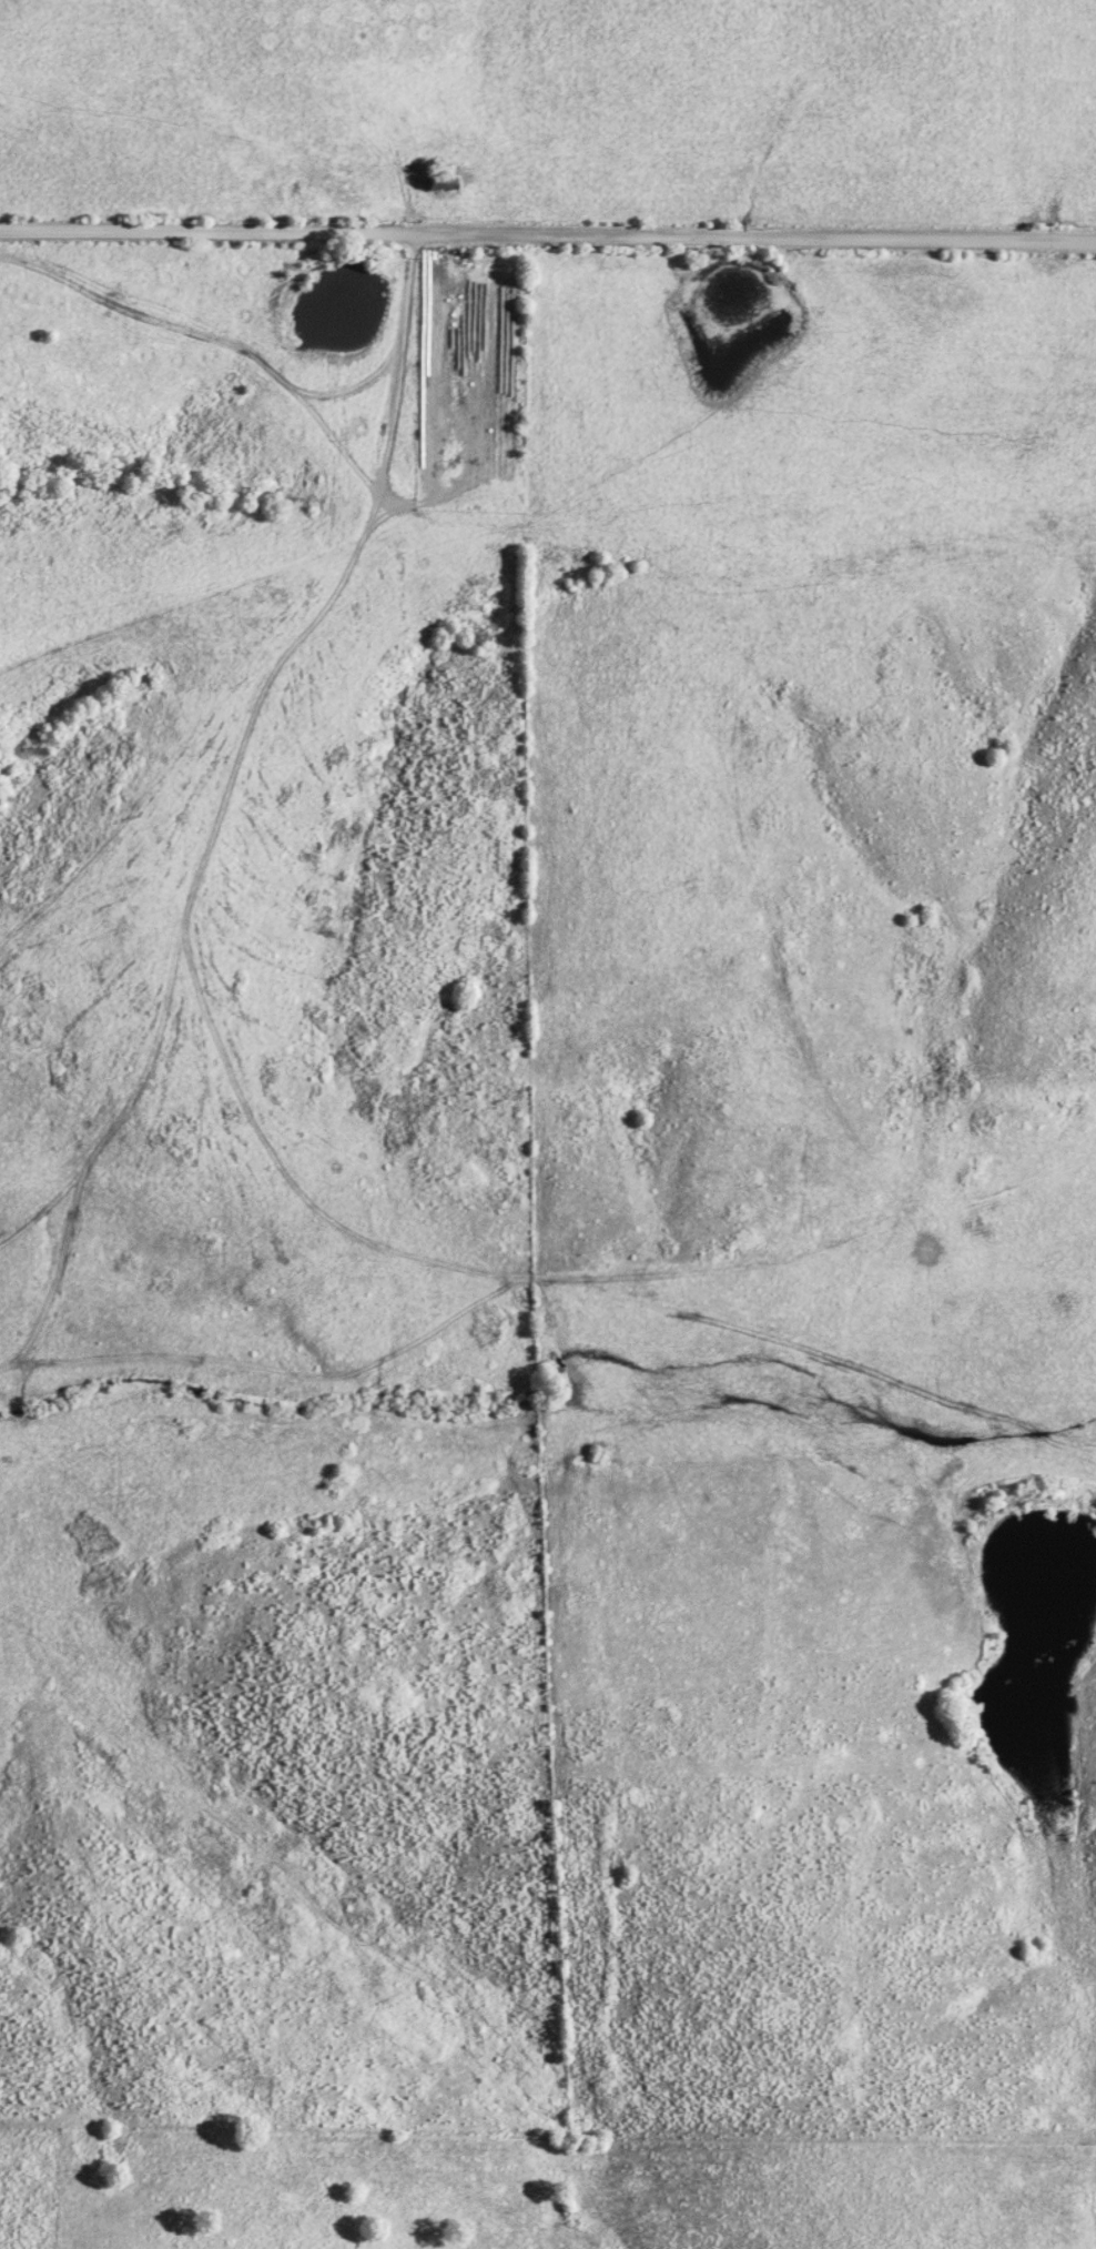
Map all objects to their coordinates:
road: (548, 238)

